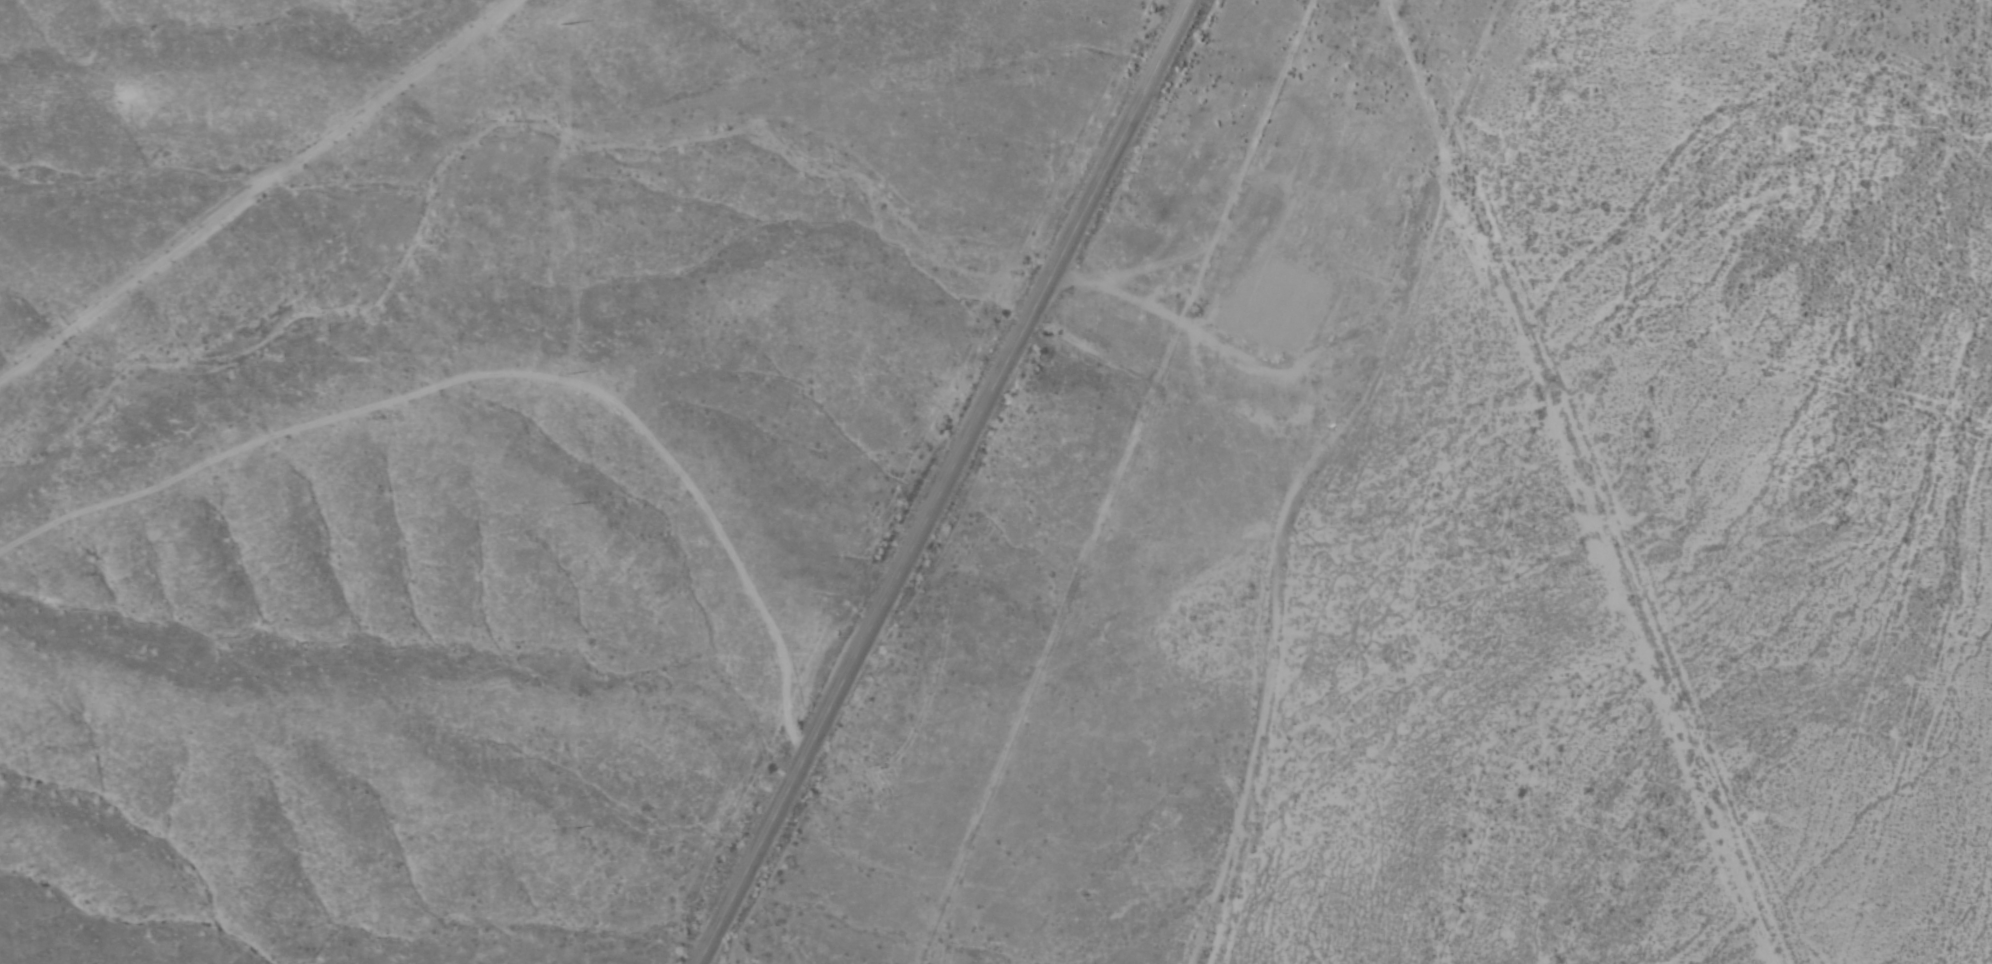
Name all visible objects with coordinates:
road: (1345, 471)
road: (945, 482)

